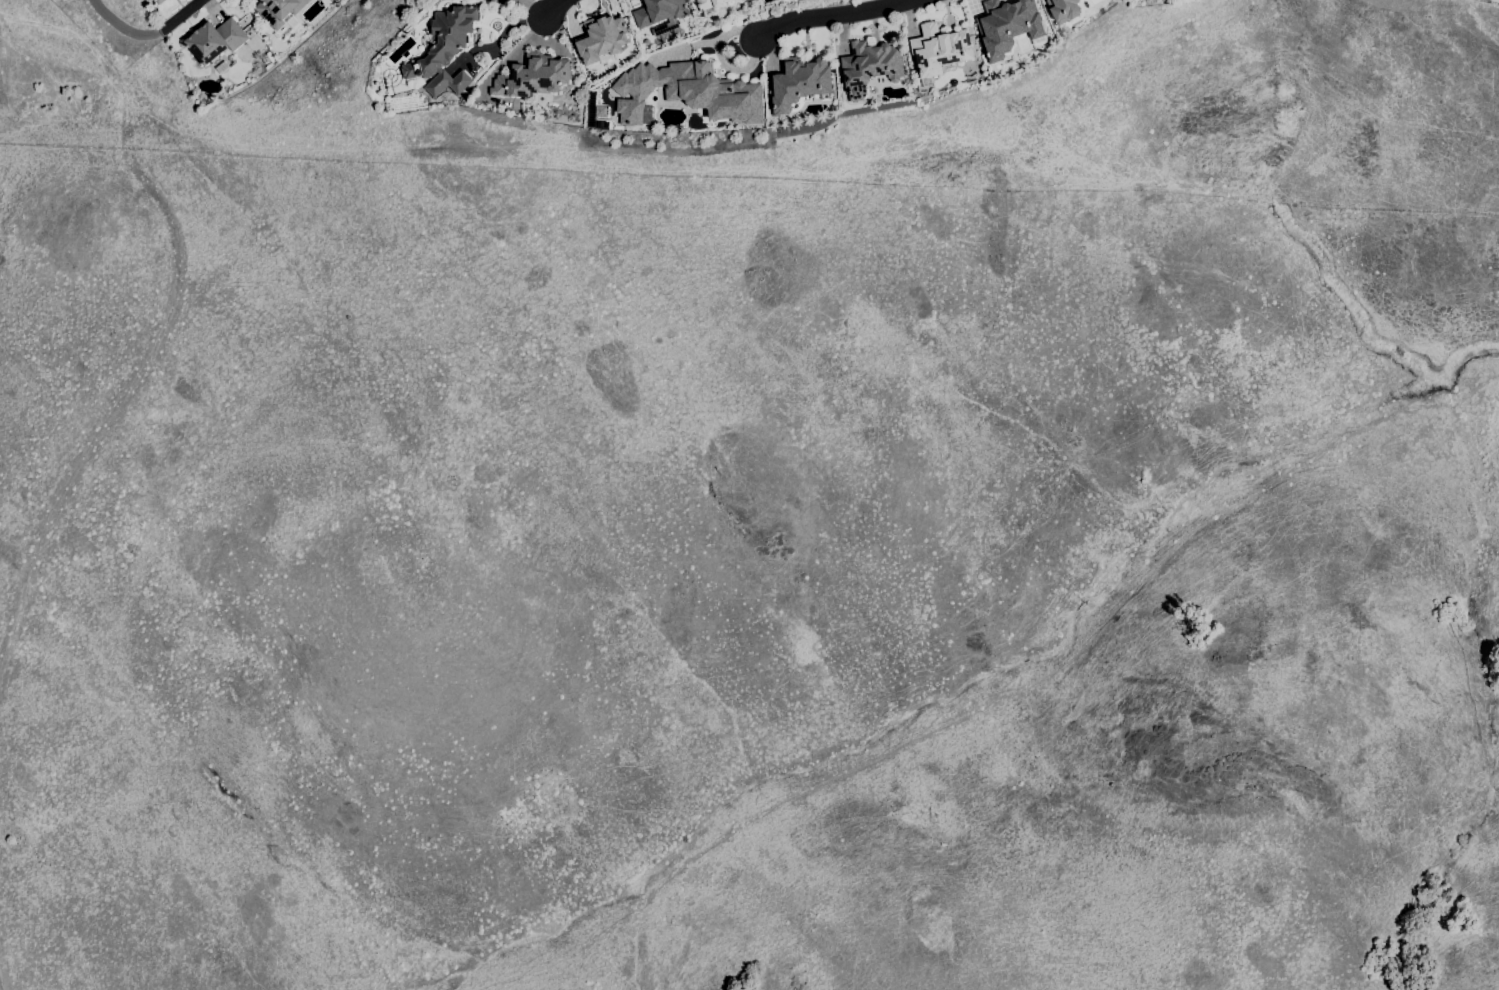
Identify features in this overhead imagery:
building: (160, 1)
building: (709, 4)
road: (554, 8)
building: (279, 10)
building: (1064, 10)
road: (831, 13)
building: (660, 14)
building: (1008, 25)
road: (145, 34)
building: (602, 39)
building: (216, 40)
building: (939, 49)
building: (445, 50)
building: (869, 66)
building: (222, 67)
building: (533, 76)
building: (799, 82)
building: (688, 92)
building: (674, 104)
building: (527, 108)
building: (601, 109)

